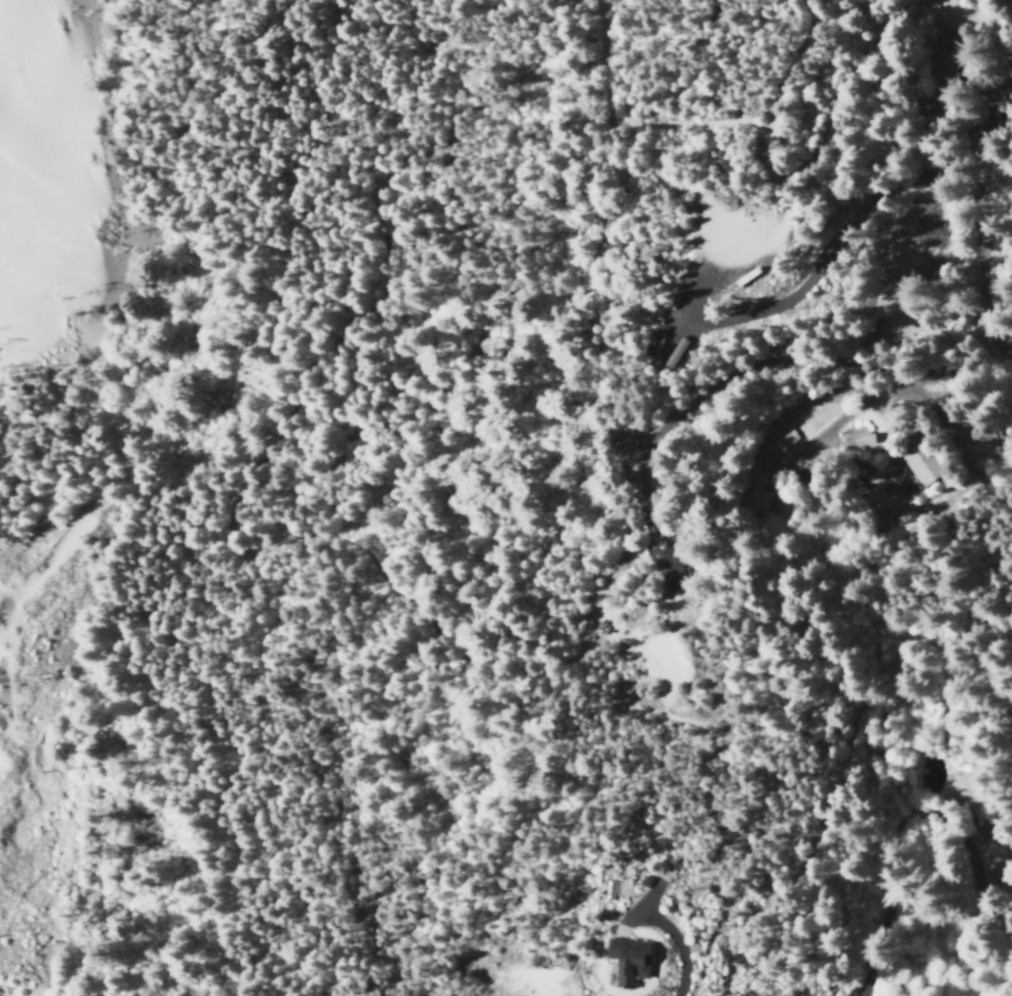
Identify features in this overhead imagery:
building: (649, 341)
building: (675, 352)
building: (784, 437)
building: (857, 438)
building: (621, 446)
building: (918, 461)
building: (750, 492)
building: (645, 519)
building: (664, 568)
building: (624, 961)

